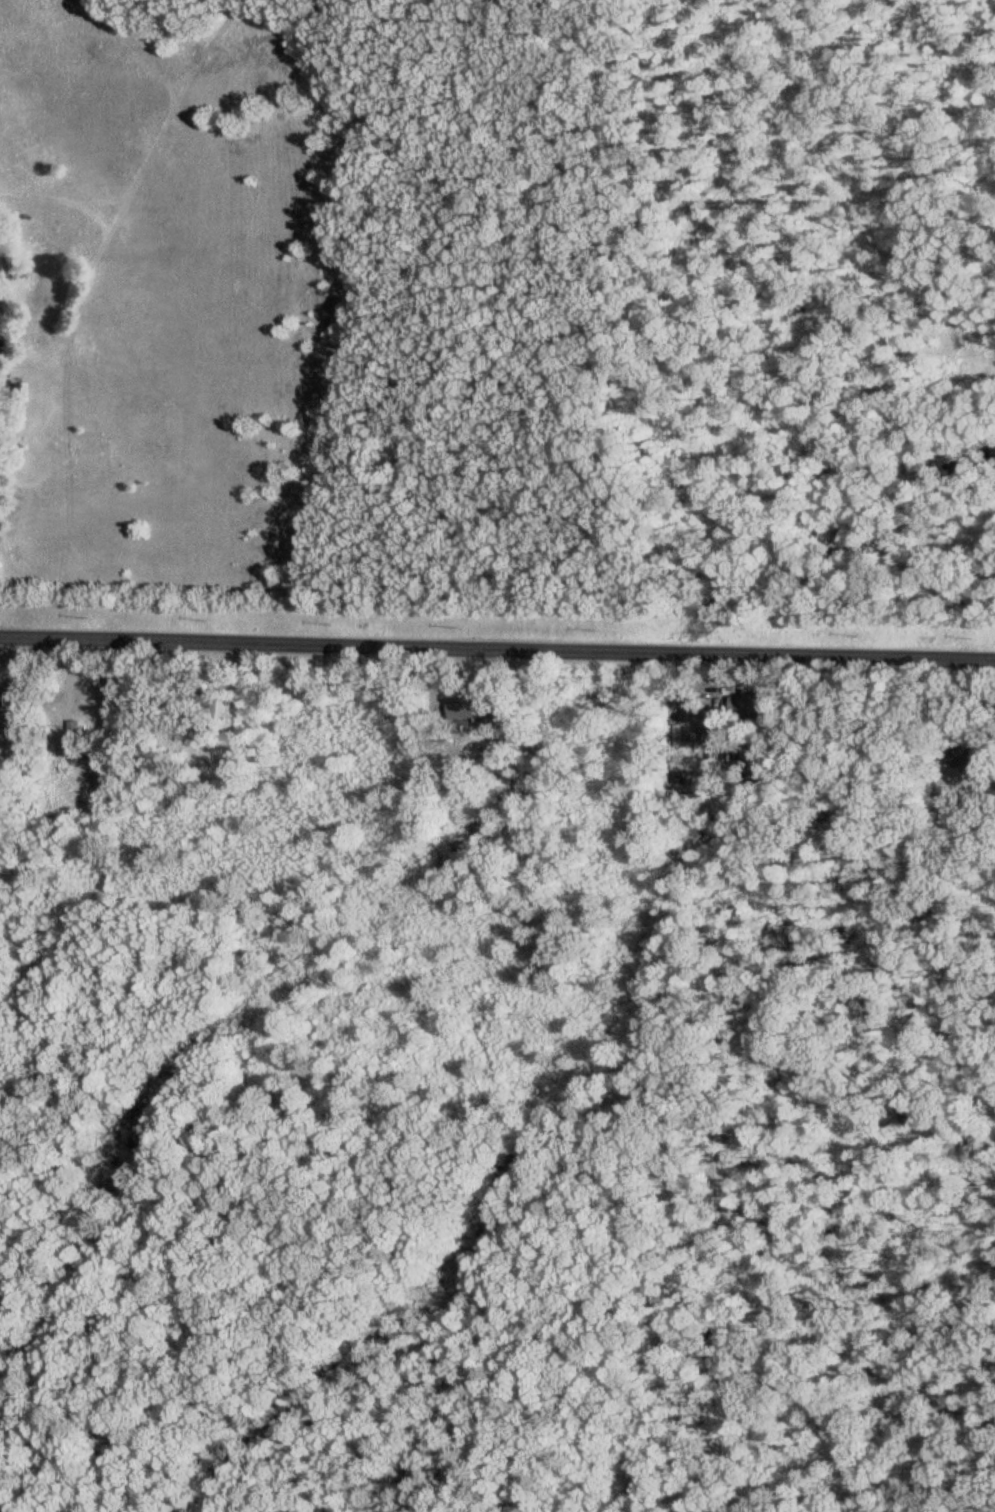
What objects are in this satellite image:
road: (497, 644)
building: (4, 698)
building: (755, 699)
building: (223, 711)
building: (79, 727)
building: (966, 756)

